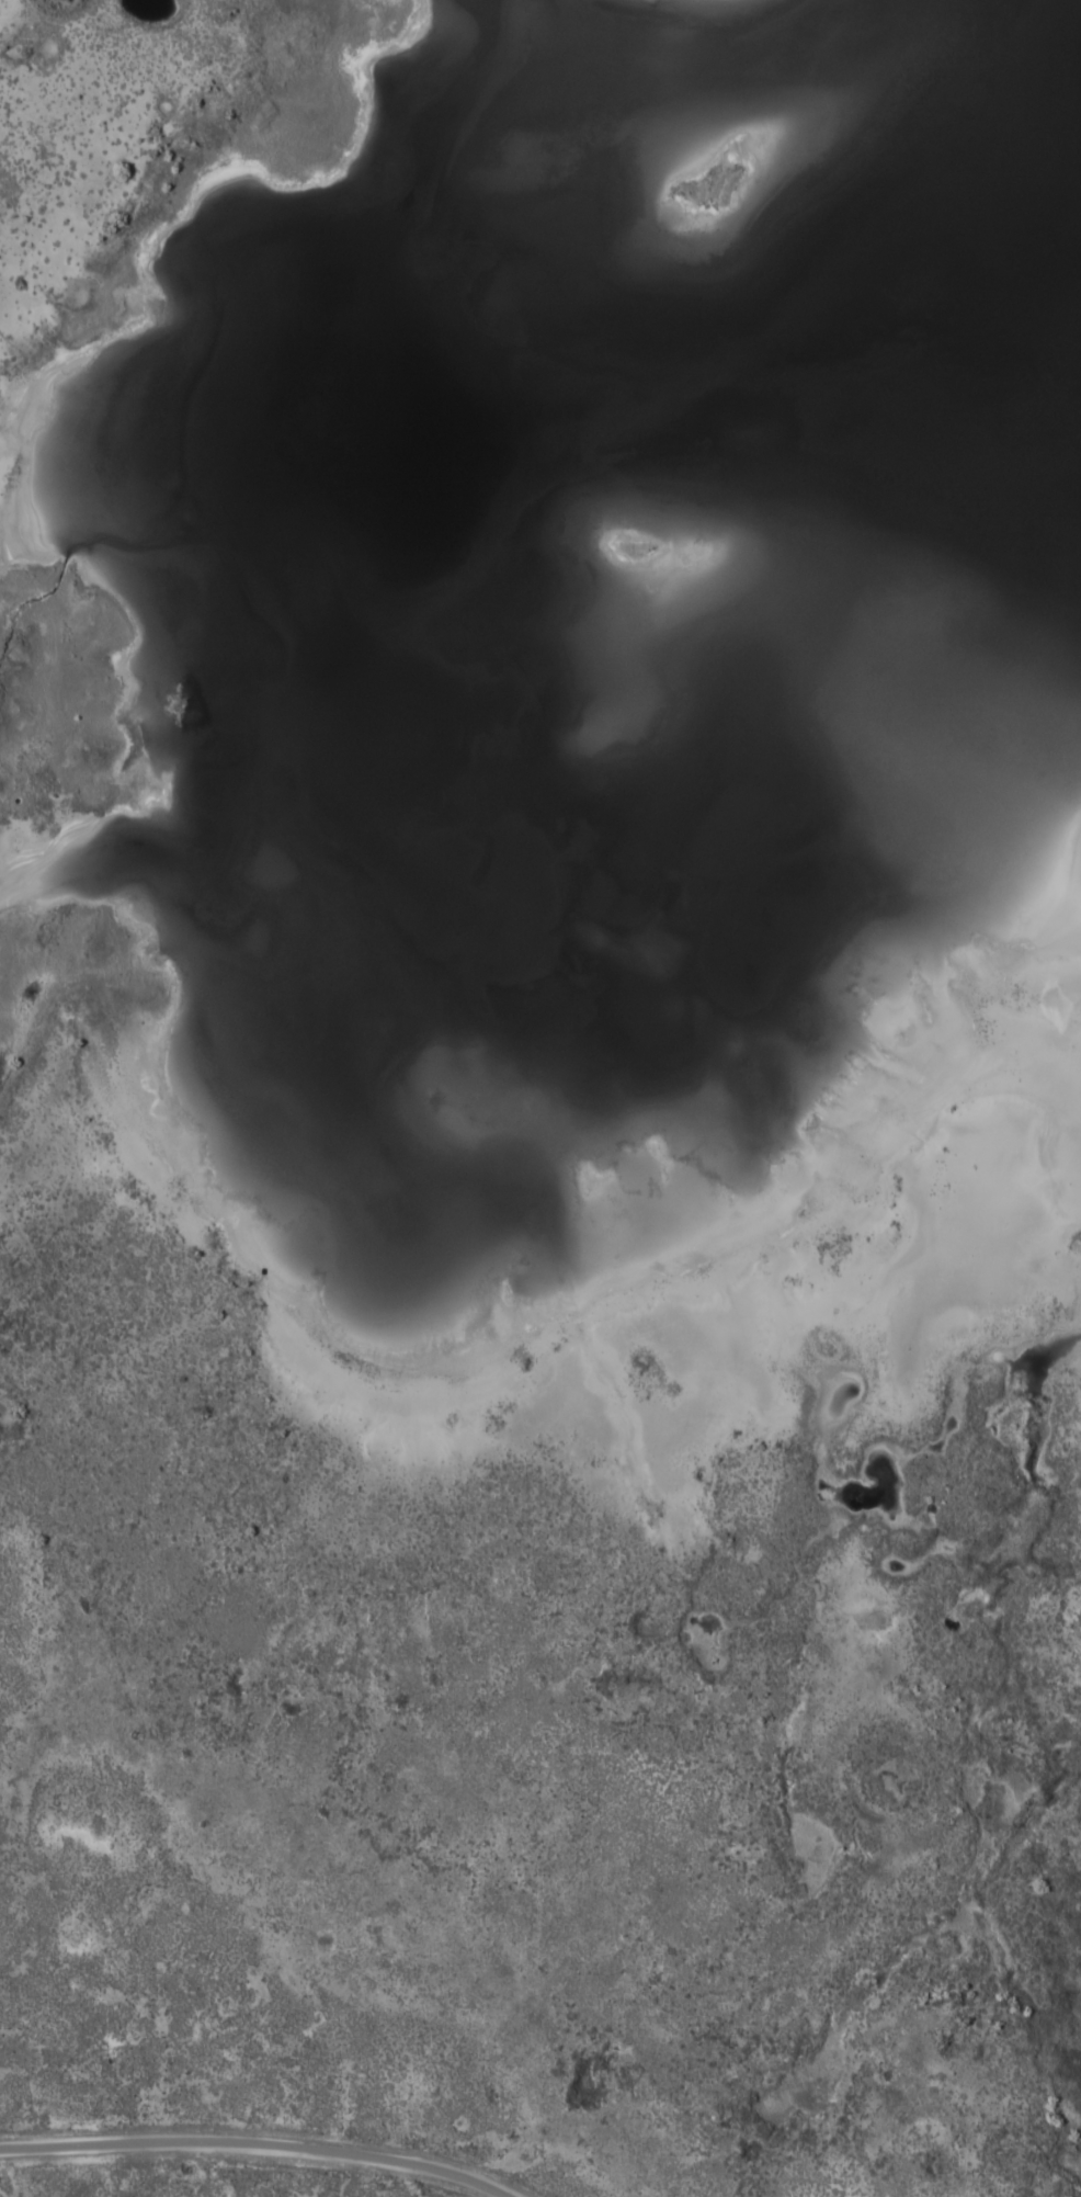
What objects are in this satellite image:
river: (24, 610)
road: (803, 1930)
road: (266, 2142)

